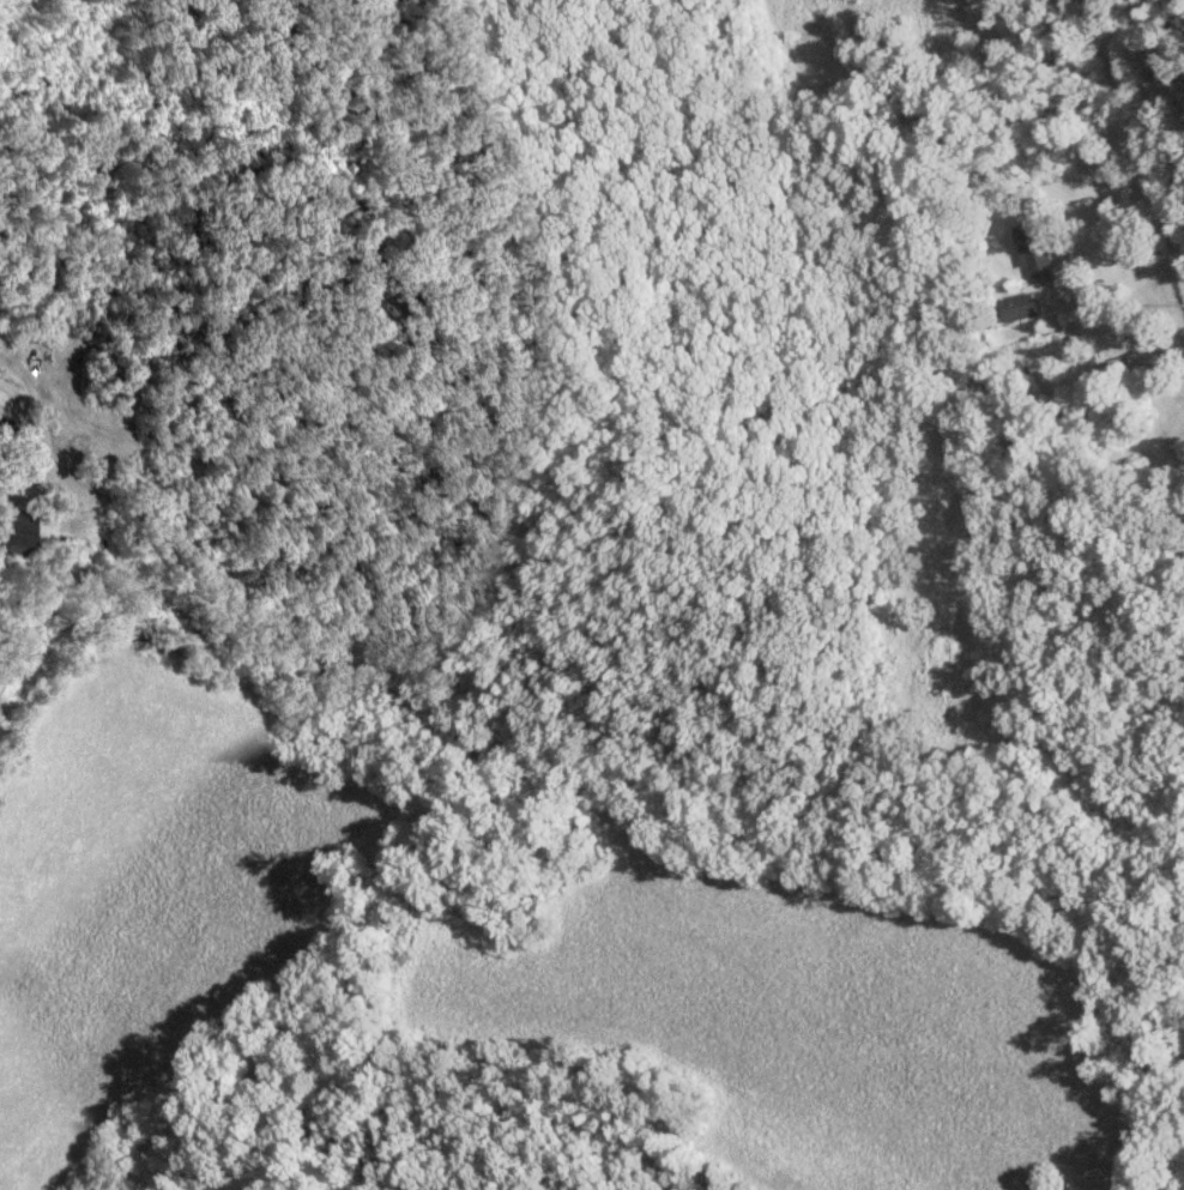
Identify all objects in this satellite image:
road: (1135, 138)
building: (1033, 252)
building: (1015, 307)
building: (1109, 366)
building: (5, 425)
building: (13, 532)

